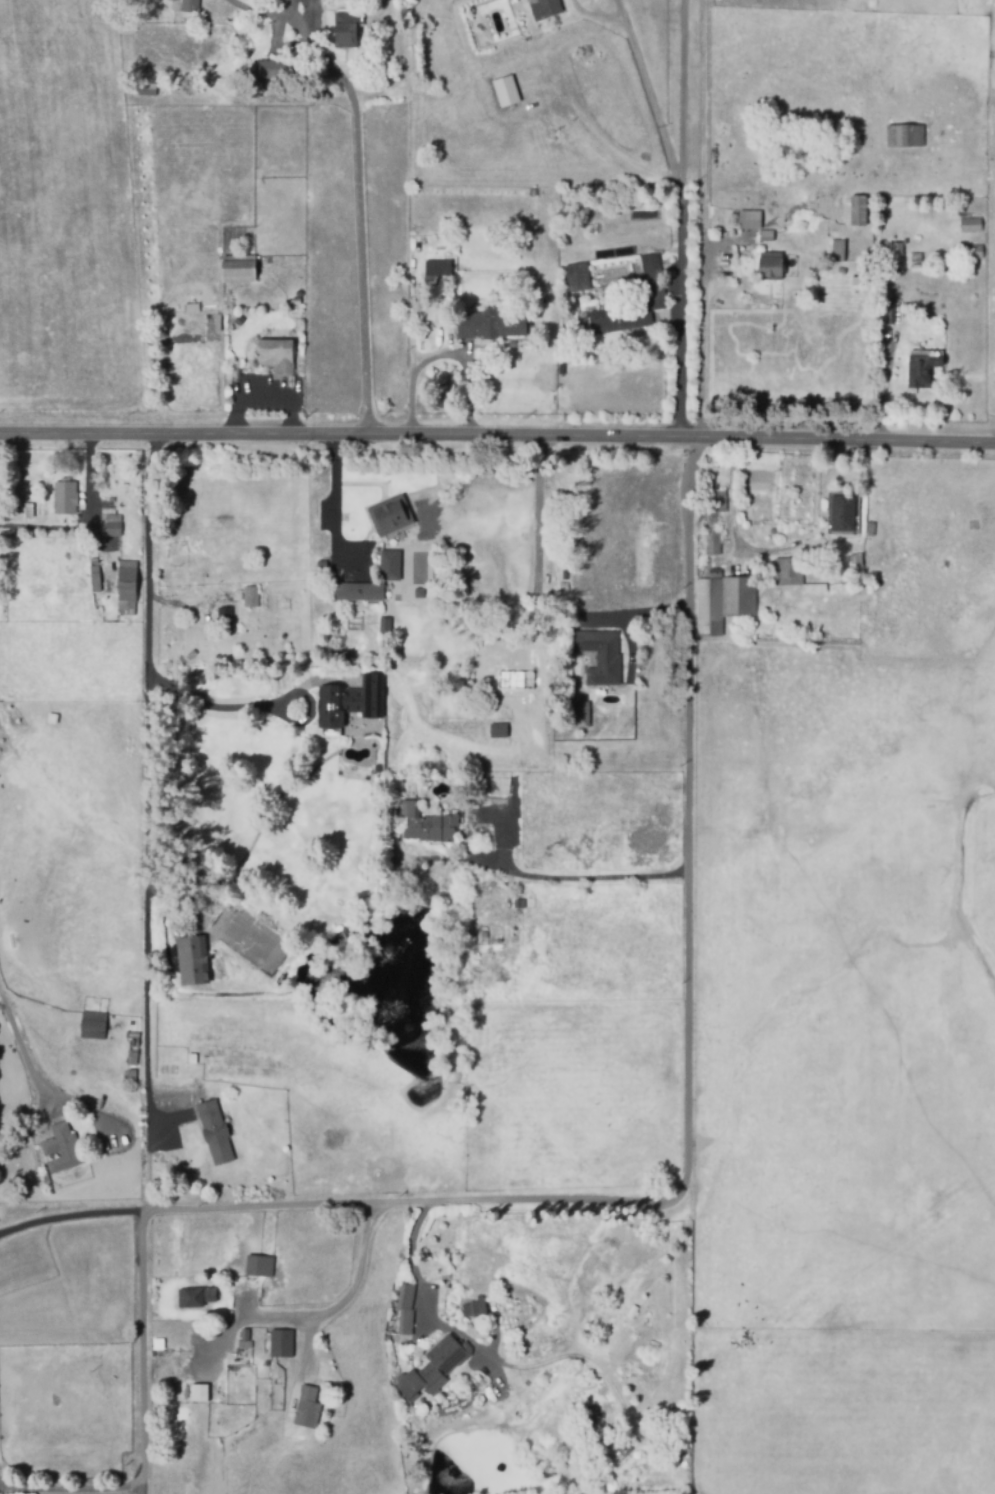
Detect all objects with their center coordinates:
building: (184, 5)
building: (545, 9)
road: (619, 9)
road: (594, 15)
building: (346, 30)
building: (399, 39)
building: (504, 50)
building: (277, 68)
building: (402, 71)
building: (144, 89)
building: (504, 91)
road: (651, 103)
building: (323, 110)
building: (905, 136)
building: (855, 211)
road: (364, 214)
road: (685, 214)
road: (702, 215)
building: (750, 219)
building: (971, 224)
building: (766, 236)
building: (838, 250)
building: (972, 251)
building: (897, 252)
building: (916, 256)
building: (770, 265)
building: (915, 268)
building: (239, 269)
building: (436, 271)
building: (575, 276)
building: (650, 291)
building: (227, 296)
building: (296, 301)
building: (193, 308)
building: (893, 311)
building: (236, 319)
building: (214, 322)
building: (491, 323)
road: (411, 329)
road: (439, 354)
building: (276, 355)
building: (921, 367)
road: (883, 385)
road: (264, 400)
road: (497, 428)
building: (712, 466)
road: (334, 493)
building: (65, 496)
building: (28, 498)
road: (734, 500)
building: (715, 504)
building: (29, 510)
building: (843, 513)
building: (386, 514)
road: (88, 521)
building: (112, 526)
building: (712, 543)
building: (94, 547)
building: (855, 560)
building: (318, 563)
building: (388, 565)
building: (789, 571)
building: (96, 576)
building: (564, 585)
building: (127, 588)
building: (812, 588)
building: (355, 591)
building: (252, 594)
road: (534, 598)
building: (724, 601)
building: (225, 622)
building: (600, 656)
building: (459, 686)
building: (351, 701)
road: (219, 708)
building: (581, 714)
building: (53, 719)
building: (496, 731)
road: (145, 819)
building: (428, 825)
road: (586, 878)
building: (516, 904)
building: (492, 935)
building: (193, 961)
building: (92, 1026)
building: (130, 1048)
road: (25, 1060)
building: (129, 1076)
building: (214, 1132)
building: (59, 1147)
road: (654, 1196)
road: (69, 1216)
building: (446, 1238)
building: (259, 1266)
road: (419, 1289)
building: (193, 1297)
building: (475, 1308)
building: (404, 1311)
road: (320, 1314)
building: (242, 1340)
building: (278, 1344)
building: (432, 1369)
building: (197, 1392)
building: (302, 1406)
road: (71, 1490)

